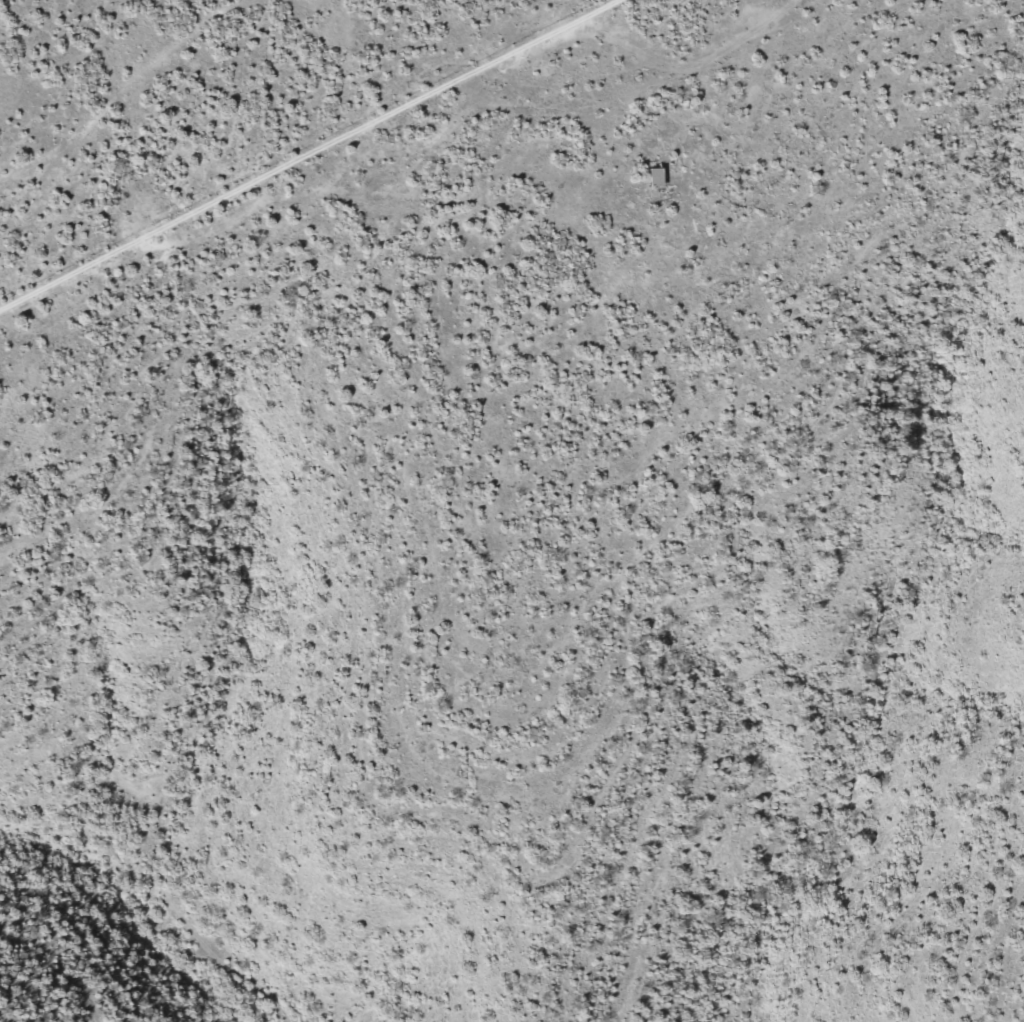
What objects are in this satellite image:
road: (132, 89)
building: (651, 176)

